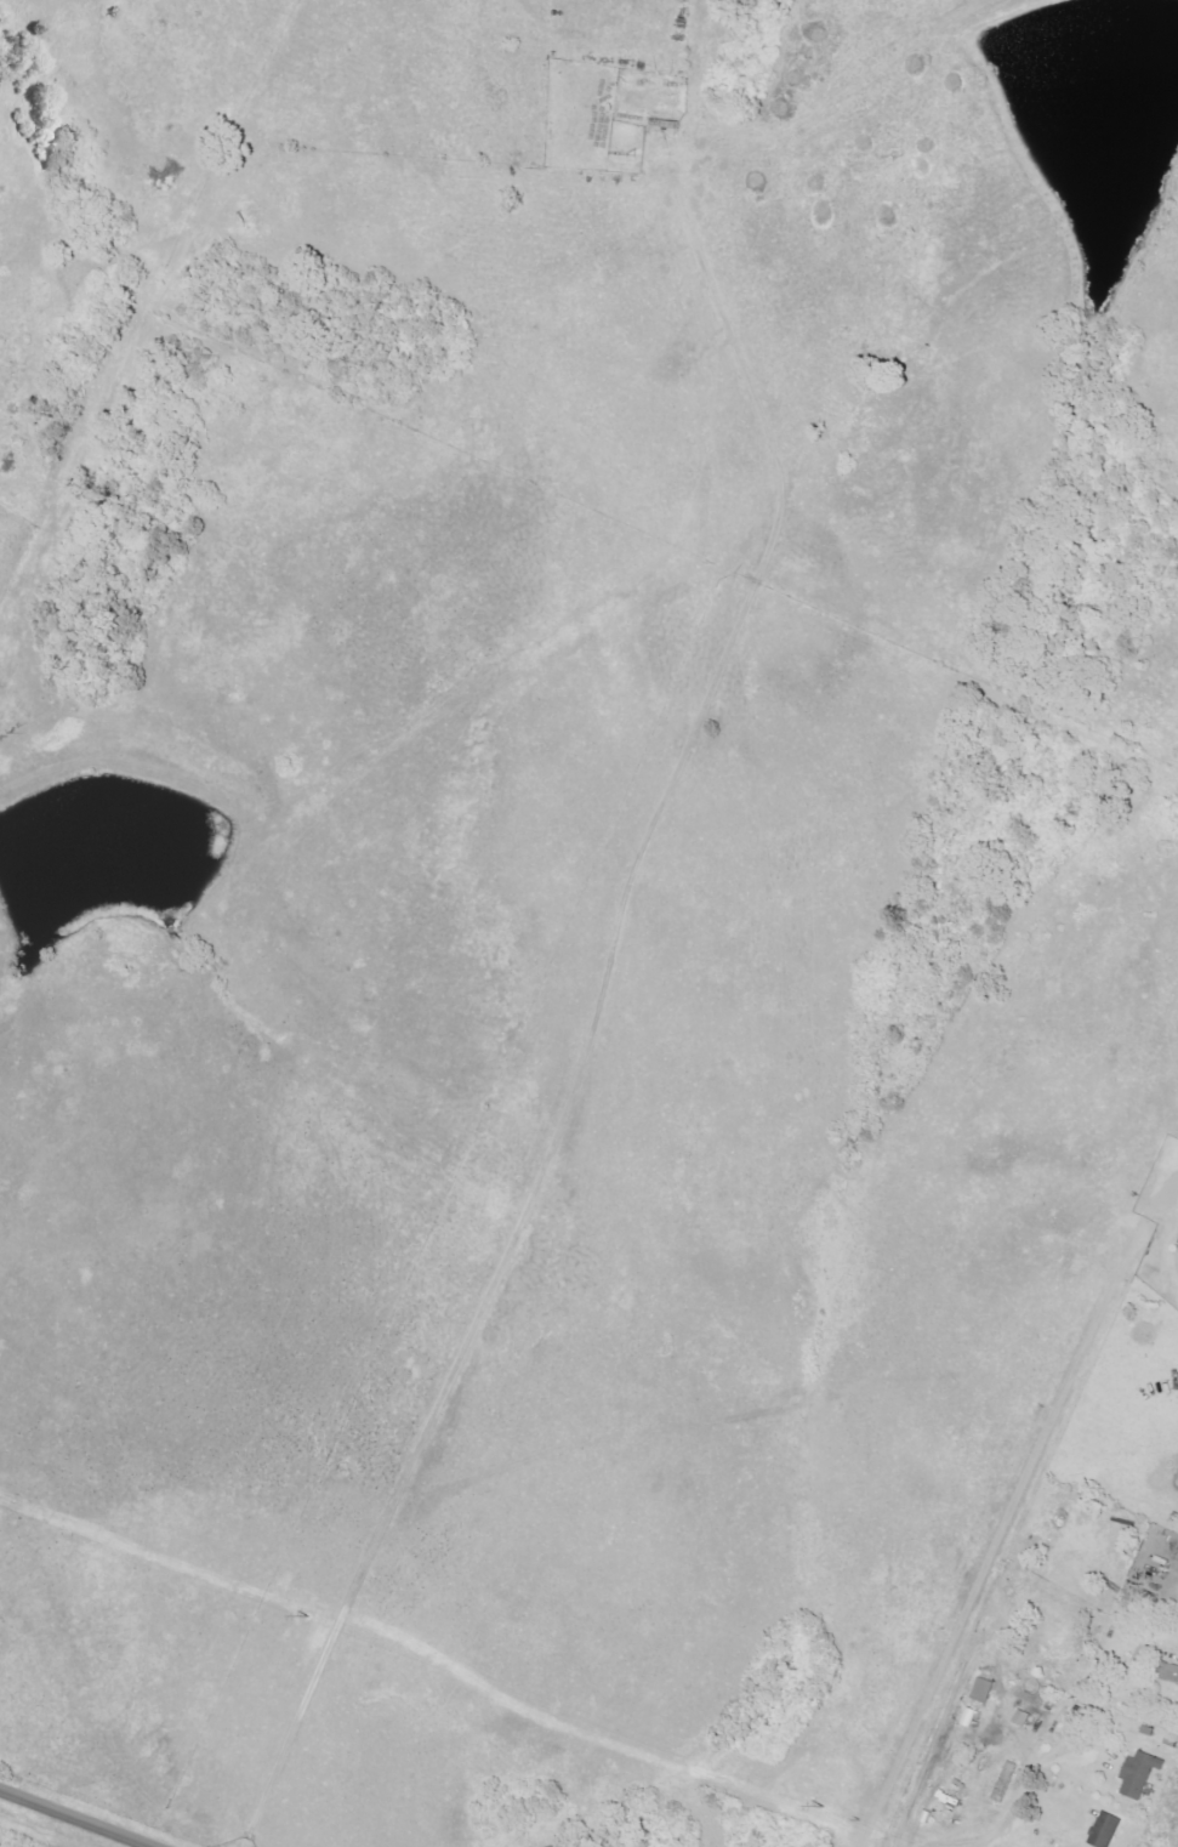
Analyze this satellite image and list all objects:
road: (601, 989)
building: (1166, 1673)
building: (980, 1692)
road: (1036, 1768)
building: (1138, 1774)
building: (1003, 1785)
road: (85, 1815)
building: (1104, 1831)
road: (957, 1843)

